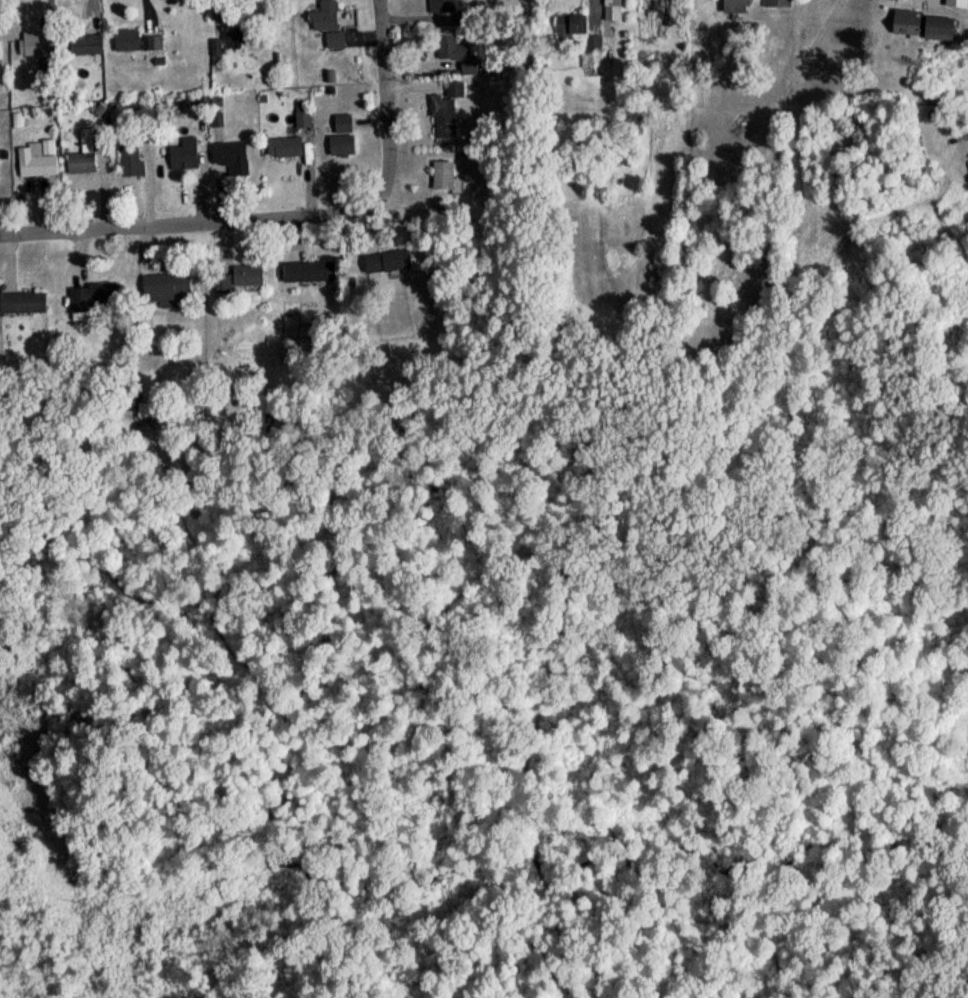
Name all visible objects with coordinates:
road: (930, 5)
building: (774, 6)
building: (953, 6)
building: (439, 9)
building: (733, 10)
building: (609, 11)
building: (325, 28)
building: (920, 31)
building: (577, 42)
building: (232, 43)
building: (123, 46)
building: (150, 48)
building: (31, 49)
building: (83, 50)
building: (213, 52)
building: (454, 59)
building: (443, 117)
building: (300, 119)
building: (340, 129)
building: (338, 150)
building: (282, 152)
building: (228, 163)
building: (34, 164)
building: (180, 164)
building: (127, 167)
building: (78, 168)
building: (440, 180)
road: (290, 215)
building: (384, 266)
building: (304, 276)
building: (243, 281)
building: (219, 289)
building: (167, 295)
building: (93, 302)
building: (21, 308)
building: (152, 416)

